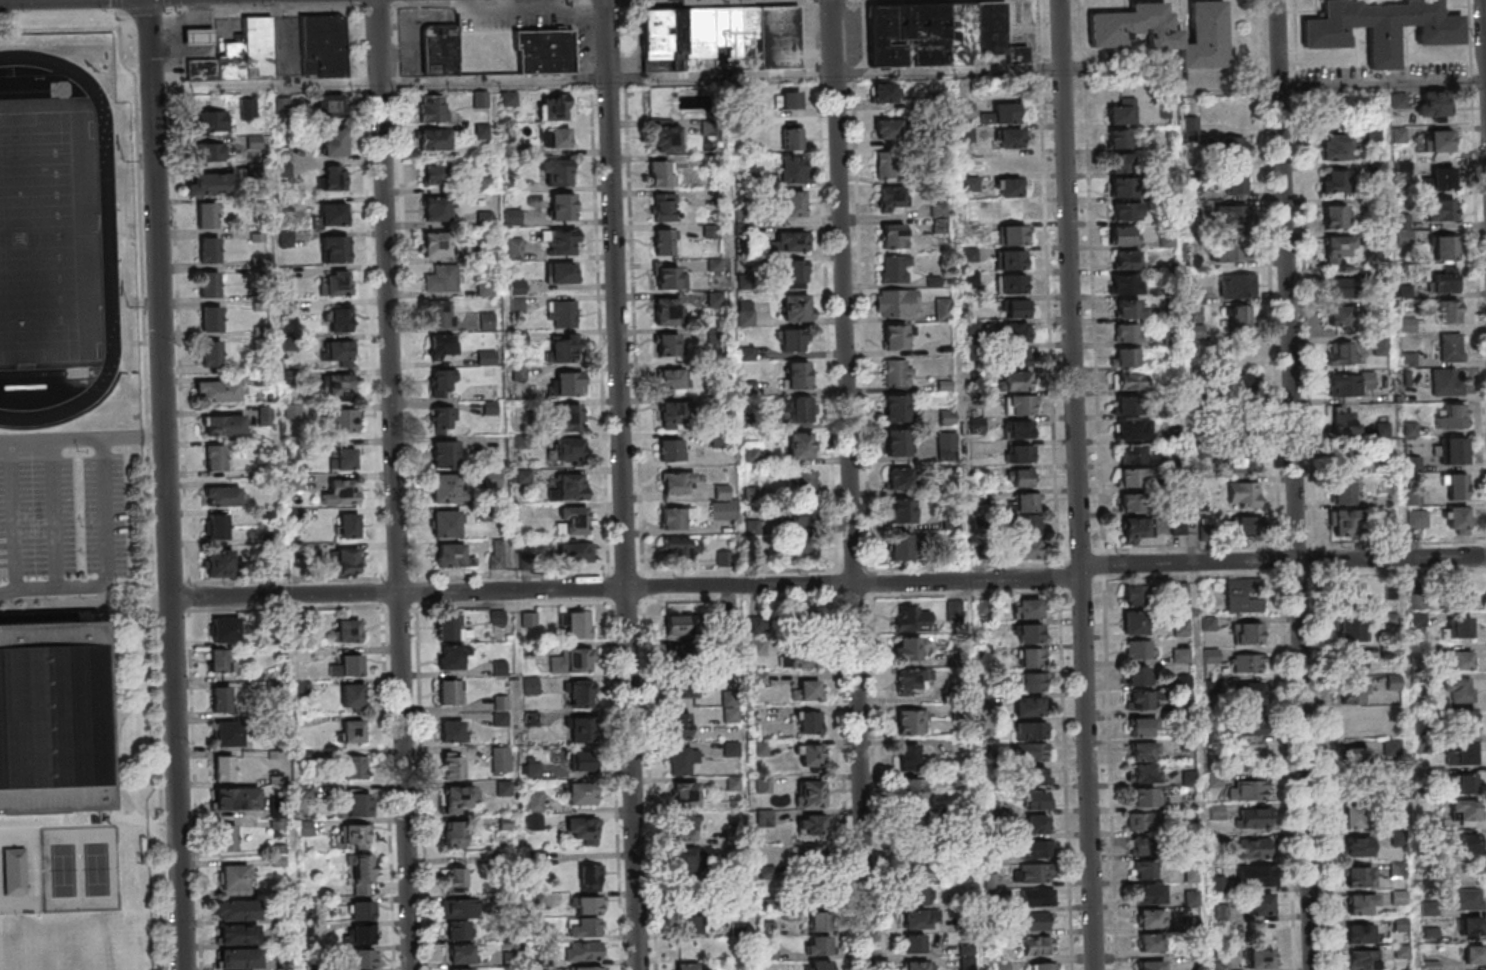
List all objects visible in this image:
road: (609, 1)
road: (496, 2)
road: (382, 4)
road: (119, 5)
road: (268, 6)
road: (150, 9)
road: (125, 10)
building: (1379, 27)
road: (59, 29)
building: (1166, 31)
building: (654, 33)
building: (938, 33)
building: (201, 36)
building: (322, 46)
building: (262, 47)
building: (440, 49)
building: (543, 51)
building: (235, 61)
building: (205, 69)
road: (820, 75)
building: (885, 92)
building: (787, 99)
building: (553, 107)
building: (1433, 107)
building: (248, 108)
building: (431, 108)
building: (1123, 111)
building: (1001, 113)
building: (208, 121)
building: (1191, 128)
building: (886, 129)
building: (556, 137)
building: (792, 137)
building: (434, 138)
building: (665, 138)
building: (1010, 138)
building: (1119, 138)
building: (1436, 140)
building: (334, 143)
building: (1336, 146)
building: (1225, 147)
building: (209, 152)
building: (1123, 163)
building: (887, 164)
building: (790, 168)
building: (556, 171)
building: (661, 173)
building: (435, 174)
building: (334, 177)
building: (1442, 179)
building: (1235, 181)
building: (1336, 181)
building: (206, 183)
building: (1011, 186)
building: (1123, 187)
building: (891, 199)
building: (794, 202)
building: (562, 206)
building: (665, 207)
building: (436, 209)
building: (1011, 210)
building: (1439, 210)
building: (1127, 211)
building: (333, 213)
building: (205, 215)
building: (1231, 216)
building: (1335, 216)
building: (939, 217)
track: (108, 232)
building: (1014, 234)
building: (1124, 235)
building: (893, 236)
park: (50, 239)
park: (39, 240)
building: (1167, 240)
building: (563, 241)
building: (664, 241)
building: (790, 241)
building: (436, 244)
building: (1339, 246)
building: (1445, 247)
building: (515, 248)
building: (1230, 248)
building: (334, 249)
building: (208, 250)
building: (1012, 259)
building: (1129, 259)
building: (896, 268)
building: (564, 272)
building: (796, 274)
building: (670, 277)
building: (441, 278)
building: (336, 282)
building: (1013, 283)
building: (1443, 283)
building: (208, 284)
building: (1125, 284)
building: (1238, 285)
building: (1339, 286)
building: (485, 287)
building: (715, 298)
building: (896, 302)
building: (797, 307)
building: (943, 308)
building: (1018, 308)
building: (1129, 308)
building: (669, 311)
building: (1448, 311)
building: (440, 313)
building: (561, 313)
building: (745, 313)
building: (1239, 316)
building: (1341, 317)
building: (210, 319)
building: (340, 319)
building: (1018, 332)
building: (1128, 332)
building: (896, 336)
building: (792, 339)
building: (443, 344)
building: (668, 344)
building: (1378, 344)
building: (1451, 346)
building: (563, 348)
building: (339, 352)
building: (1341, 353)
building: (211, 354)
building: (1018, 356)
building: (1126, 356)
building: (897, 372)
building: (798, 374)
building: (1239, 375)
building: (671, 379)
building: (1017, 380)
building: (1127, 380)
building: (443, 382)
building: (1446, 382)
building: (569, 383)
building: (1350, 383)
building: (341, 386)
building: (220, 390)
building: (1410, 393)
building: (1022, 404)
building: (1131, 404)
building: (898, 408)
building: (799, 409)
building: (672, 412)
building: (1453, 416)
building: (442, 417)
building: (568, 417)
building: (947, 417)
building: (340, 419)
building: (1342, 421)
building: (222, 424)
building: (977, 424)
building: (1020, 429)
building: (1132, 429)
road: (126, 437)
road: (157, 437)
road: (52, 439)
building: (946, 440)
building: (897, 443)
building: (800, 445)
building: (569, 448)
building: (671, 448)
building: (444, 453)
building: (1019, 453)
building: (1131, 453)
building: (751, 454)
building: (345, 457)
building: (215, 458)
building: (1133, 476)
building: (1022, 477)
building: (492, 478)
building: (900, 479)
building: (803, 481)
building: (677, 482)
road: (167, 484)
road: (399, 484)
road: (853, 484)
road: (1081, 484)
road: (1103, 484)
road: (1298, 484)
road: (626, 485)
building: (571, 486)
building: (1455, 486)
road: (150, 487)
building: (445, 488)
building: (1343, 492)
building: (341, 493)
building: (1243, 494)
building: (223, 496)
building: (1025, 502)
building: (1133, 502)
building: (723, 510)
building: (902, 510)
road: (55, 514)
parking lot: (64, 514)
road: (13, 515)
building: (800, 515)
building: (672, 518)
building: (1457, 519)
building: (571, 520)
building: (1344, 522)
building: (446, 523)
building: (1026, 524)
building: (348, 525)
building: (1247, 525)
building: (217, 527)
building: (1135, 529)
building: (901, 546)
building: (677, 547)
building: (1025, 548)
building: (572, 552)
building: (452, 555)
building: (347, 559)
building: (218, 563)
road: (107, 566)
road: (831, 585)
building: (1349, 592)
building: (1136, 595)
building: (1459, 595)
building: (1244, 598)
road: (87, 606)
building: (1031, 609)
building: (954, 610)
building: (497, 617)
building: (913, 618)
building: (528, 619)
building: (804, 619)
building: (675, 622)
building: (759, 622)
building: (1134, 622)
building: (578, 624)
building: (449, 626)
building: (1181, 628)
building: (1460, 628)
building: (222, 629)
building: (1350, 629)
building: (348, 630)
building: (1033, 633)
building: (1249, 633)
building: (759, 647)
building: (908, 649)
building: (1139, 649)
building: (677, 654)
building: (1181, 655)
building: (449, 657)
building: (799, 658)
building: (1034, 658)
building: (1460, 659)
building: (222, 660)
building: (572, 660)
building: (1247, 662)
building: (1351, 662)
building: (351, 664)
building: (1137, 675)
building: (909, 682)
building: (1036, 682)
building: (530, 685)
building: (683, 685)
building: (806, 689)
building: (1461, 690)
building: (449, 692)
building: (1248, 693)
building: (1352, 693)
building: (580, 694)
building: (351, 695)
building: (220, 699)
building: (1143, 699)
road: (133, 703)
building: (1036, 707)
building: (501, 710)
building: (731, 714)
building: (50, 718)
building: (1352, 721)
building: (809, 722)
building: (910, 722)
building: (1250, 724)
building: (1463, 724)
building: (679, 725)
building: (1143, 727)
building: (582, 729)
road: (111, 731)
building: (351, 731)
building: (452, 731)
building: (1036, 731)
building: (228, 734)
building: (1144, 751)
building: (809, 752)
building: (1038, 752)
building: (1465, 754)
building: (908, 756)
building: (1351, 758)
building: (499, 759)
building: (679, 760)
building: (584, 761)
road: (1068, 766)
building: (354, 767)
building: (452, 767)
building: (222, 768)
building: (1145, 772)
building: (1038, 776)
building: (1189, 777)
building: (1465, 784)
building: (504, 787)
building: (1252, 789)
building: (914, 791)
building: (811, 792)
building: (581, 794)
building: (686, 794)
building: (1145, 796)
building: (236, 798)
building: (458, 798)
building: (535, 800)
building: (1039, 801)
building: (358, 802)
building: (1465, 809)
road: (124, 817)
building: (764, 817)
building: (1254, 817)
building: (1356, 817)
road: (65, 819)
building: (536, 821)
building: (1143, 821)
building: (811, 824)
building: (1040, 825)
road: (73, 826)
building: (683, 826)
building: (917, 826)
building: (583, 830)
building: (353, 834)
building: (454, 834)
building: (226, 838)
building: (1464, 845)
building: (1144, 846)
building: (1358, 846)
building: (1253, 847)
building: (1045, 850)
building: (810, 857)
building: (539, 858)
building: (684, 858)
building: (283, 861)
building: (917, 864)
building: (1144, 869)
building: (1396, 870)
park: (81, 871)
building: (15, 872)
building: (1191, 873)
building: (1260, 875)
building: (1358, 875)
building: (589, 876)
building: (361, 877)
building: (237, 878)
building: (456, 879)
road: (34, 882)
building: (813, 890)
building: (918, 895)
building: (1146, 895)
building: (1191, 897)
building: (687, 898)
building: (1046, 899)
building: (1467, 899)
building: (589, 904)
building: (1360, 904)
building: (1259, 905)
building: (360, 910)
building: (242, 911)
building: (1220, 911)
building: (285, 915)
building: (459, 917)
building: (916, 919)
building: (1151, 920)
building: (818, 921)
building: (1036, 922)
building: (691, 923)
building: (1469, 925)
building: (583, 926)
building: (1258, 929)
building: (1357, 933)
building: (362, 934)
building: (242, 935)
building: (914, 943)
building: (1152, 944)
building: (817, 945)
building: (1040, 946)
building: (692, 947)
building: (583, 950)
building: (460, 953)
building: (1474, 954)
building: (363, 958)
building: (1261, 958)
building: (243, 959)
building: (1362, 959)
building: (287, 963)
building: (818, 965)
building: (999, 965)
building: (1221, 965)
building: (692, 966)
building: (919, 966)
building: (1152, 966)
building: (1047, 967)
building: (589, 968)
building: (466, 969)

